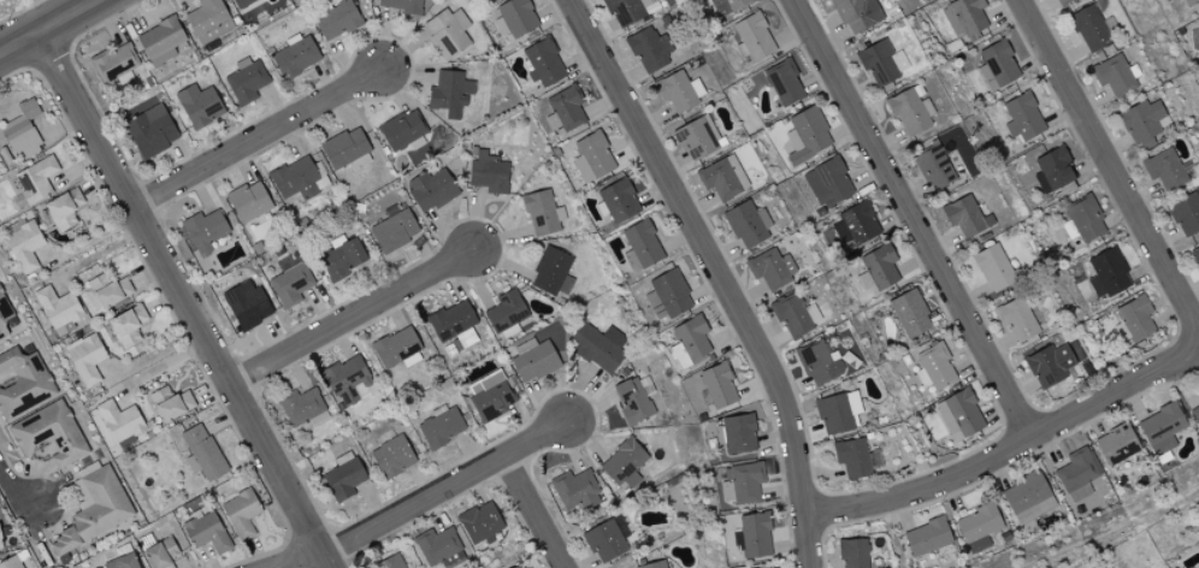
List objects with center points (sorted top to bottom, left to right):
building: (1061, 1)
building: (242, 2)
building: (1191, 2)
building: (401, 5)
building: (728, 6)
road: (54, 11)
building: (626, 11)
building: (857, 14)
building: (964, 17)
building: (515, 18)
building: (208, 20)
building: (337, 20)
road: (51, 28)
building: (1089, 29)
building: (448, 32)
building: (752, 39)
building: (161, 41)
building: (649, 51)
building: (296, 57)
building: (544, 63)
building: (882, 63)
building: (113, 64)
building: (997, 67)
building: (1114, 76)
building: (247, 82)
building: (784, 83)
building: (678, 91)
building: (450, 94)
building: (200, 106)
building: (567, 110)
building: (910, 112)
building: (1023, 118)
building: (1144, 124)
building: (403, 130)
building: (152, 131)
building: (23, 132)
building: (807, 136)
road: (258, 138)
building: (697, 138)
building: (347, 150)
building: (592, 158)
road: (1105, 158)
building: (933, 168)
building: (1164, 170)
building: (1053, 171)
building: (489, 174)
building: (295, 179)
building: (723, 179)
building: (35, 182)
building: (828, 184)
building: (431, 190)
building: (249, 202)
building: (618, 202)
building: (65, 209)
building: (542, 214)
building: (1186, 214)
building: (967, 217)
road: (914, 219)
building: (1083, 220)
building: (748, 225)
building: (856, 225)
building: (205, 231)
building: (395, 231)
building: (24, 247)
building: (642, 247)
building: (1197, 253)
building: (342, 259)
building: (994, 268)
building: (770, 270)
building: (878, 270)
building: (553, 273)
road: (720, 273)
building: (1108, 274)
building: (290, 285)
building: (110, 291)
building: (667, 296)
road: (187, 300)
building: (248, 306)
building: (59, 310)
building: (507, 314)
building: (910, 314)
building: (4, 316)
building: (796, 316)
road: (352, 318)
building: (1020, 320)
building: (1134, 320)
building: (454, 325)
building: (128, 326)
building: (692, 339)
building: (597, 348)
building: (397, 349)
building: (87, 359)
building: (533, 361)
building: (820, 363)
building: (1049, 366)
building: (934, 368)
building: (23, 384)
building: (719, 386)
building: (491, 396)
building: (633, 401)
building: (171, 404)
building: (302, 407)
building: (838, 413)
building: (959, 415)
building: (1195, 415)
building: (120, 421)
building: (442, 427)
building: (1162, 428)
building: (49, 434)
building: (737, 434)
road: (1020, 445)
building: (1117, 445)
building: (202, 454)
building: (392, 457)
building: (852, 458)
building: (624, 462)
building: (1077, 475)
building: (344, 477)
building: (742, 484)
road: (444, 489)
building: (575, 491)
road: (16, 492)
building: (1024, 493)
building: (94, 509)
road: (533, 511)
building: (242, 514)
building: (480, 523)
building: (979, 528)
building: (207, 533)
building: (754, 537)
building: (927, 538)
building: (606, 540)
building: (1, 543)
building: (441, 549)
building: (161, 554)
building: (854, 554)
road: (300, 560)
building: (123, 562)
building: (391, 562)
building: (12, 563)
building: (654, 566)
building: (520, 567)

